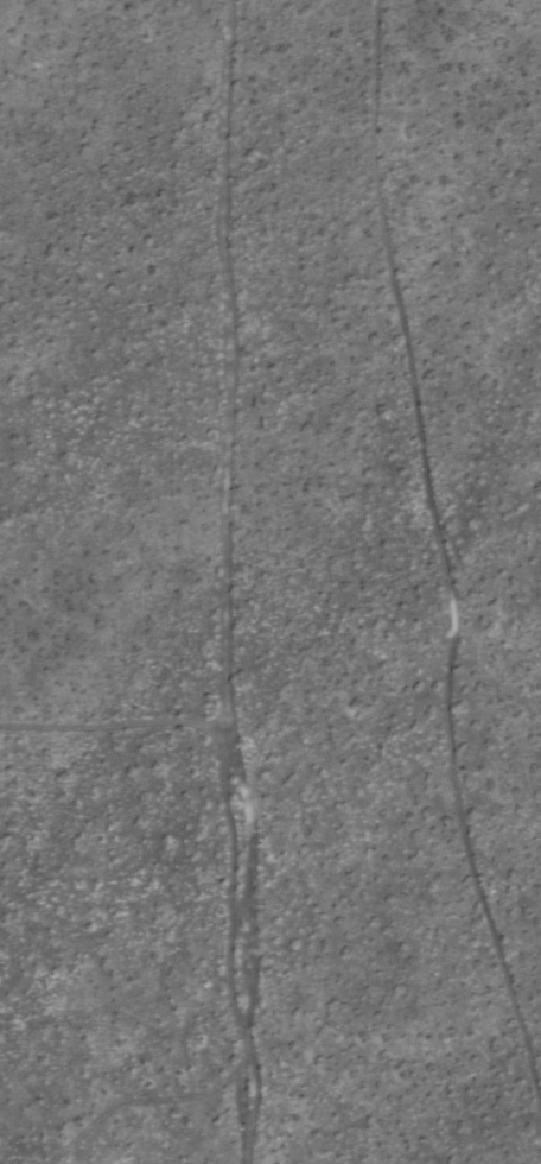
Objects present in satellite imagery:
road: (231, 582)
road: (116, 728)

